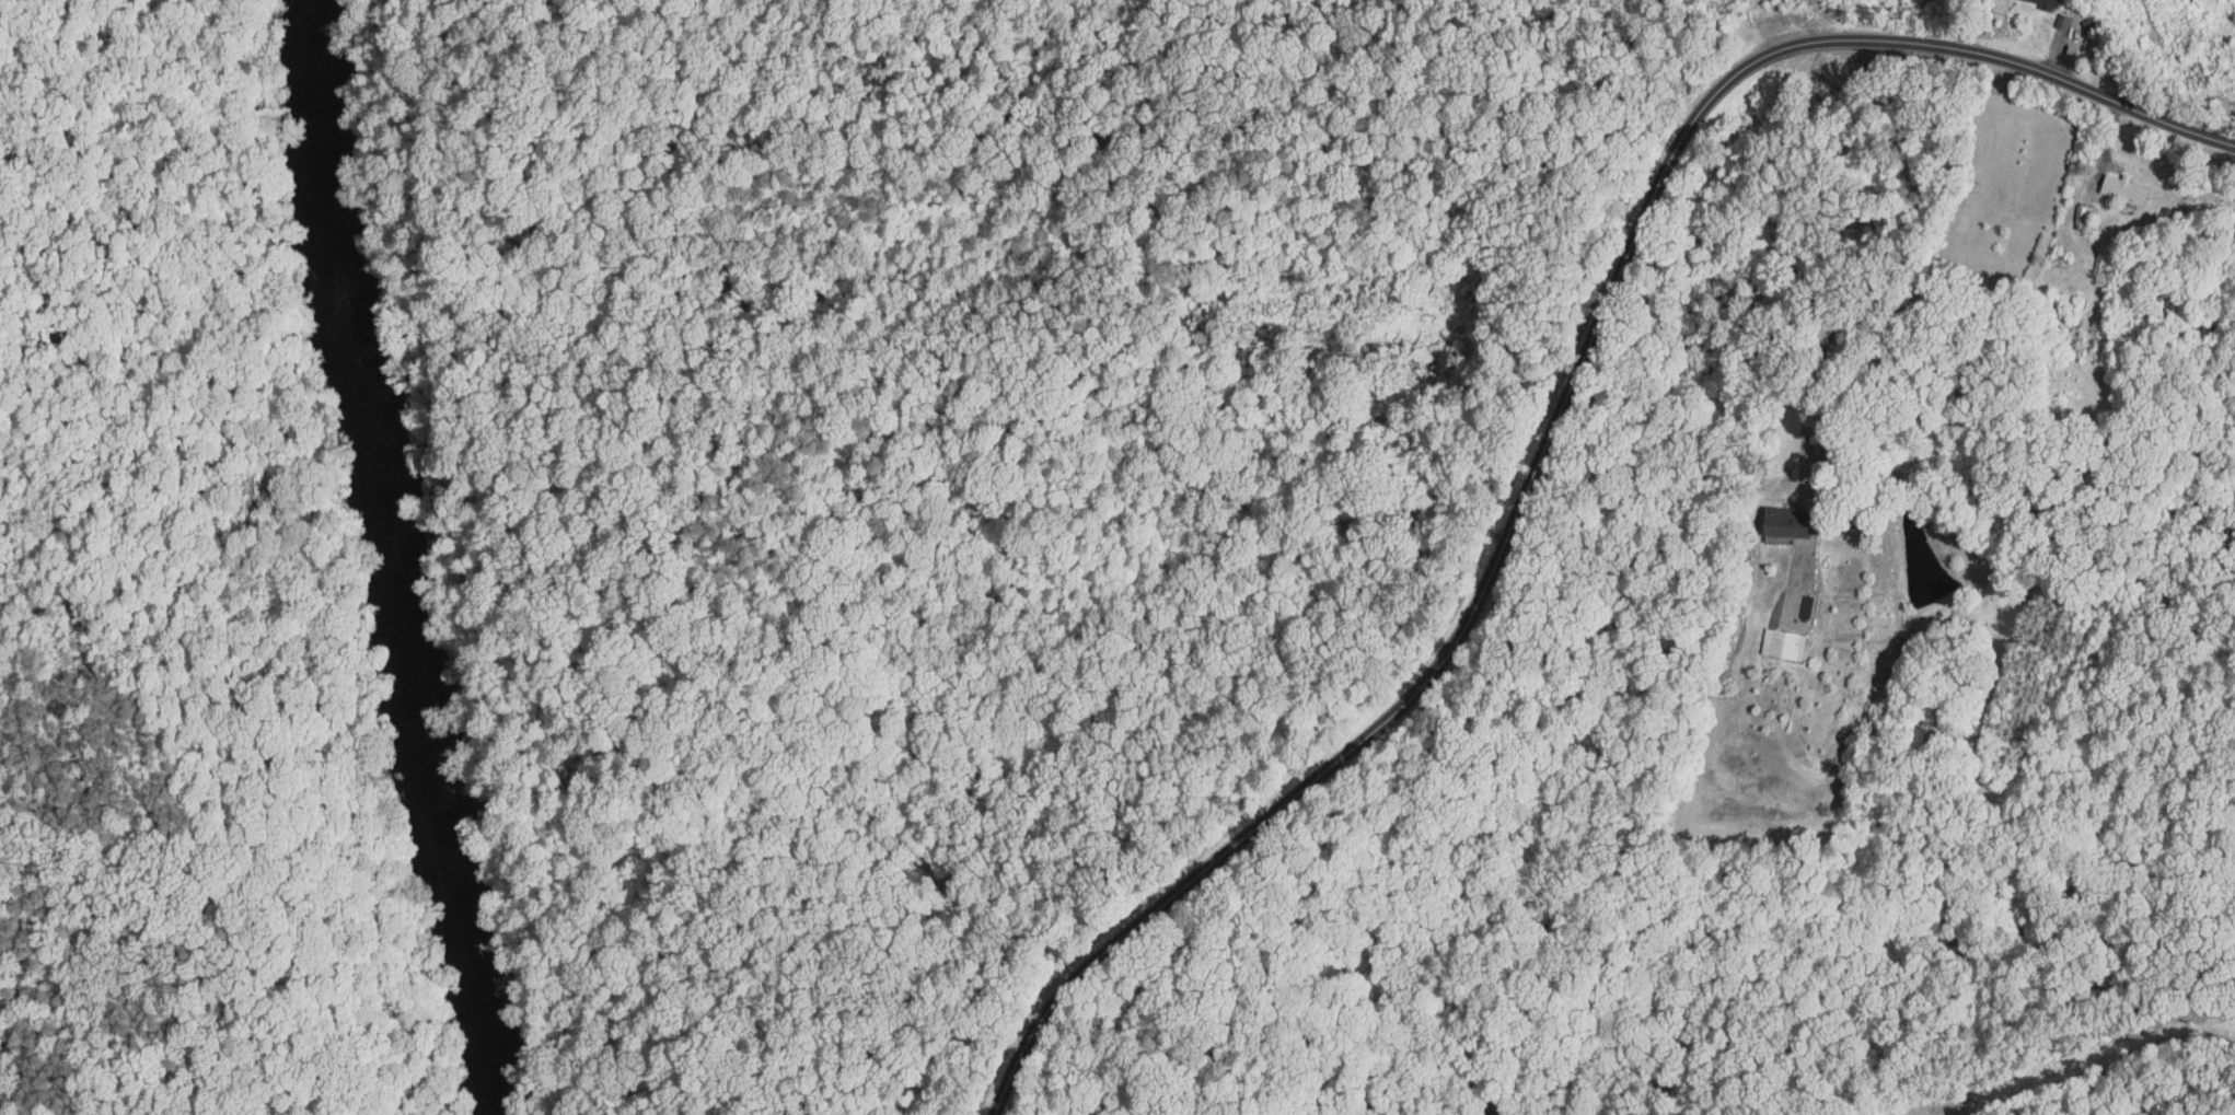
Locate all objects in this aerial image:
building: (2033, 1)
building: (2107, 184)
road: (1886, 278)
road: (2201, 416)
road: (1557, 420)
building: (1770, 515)
river: (398, 558)
building: (1769, 637)

